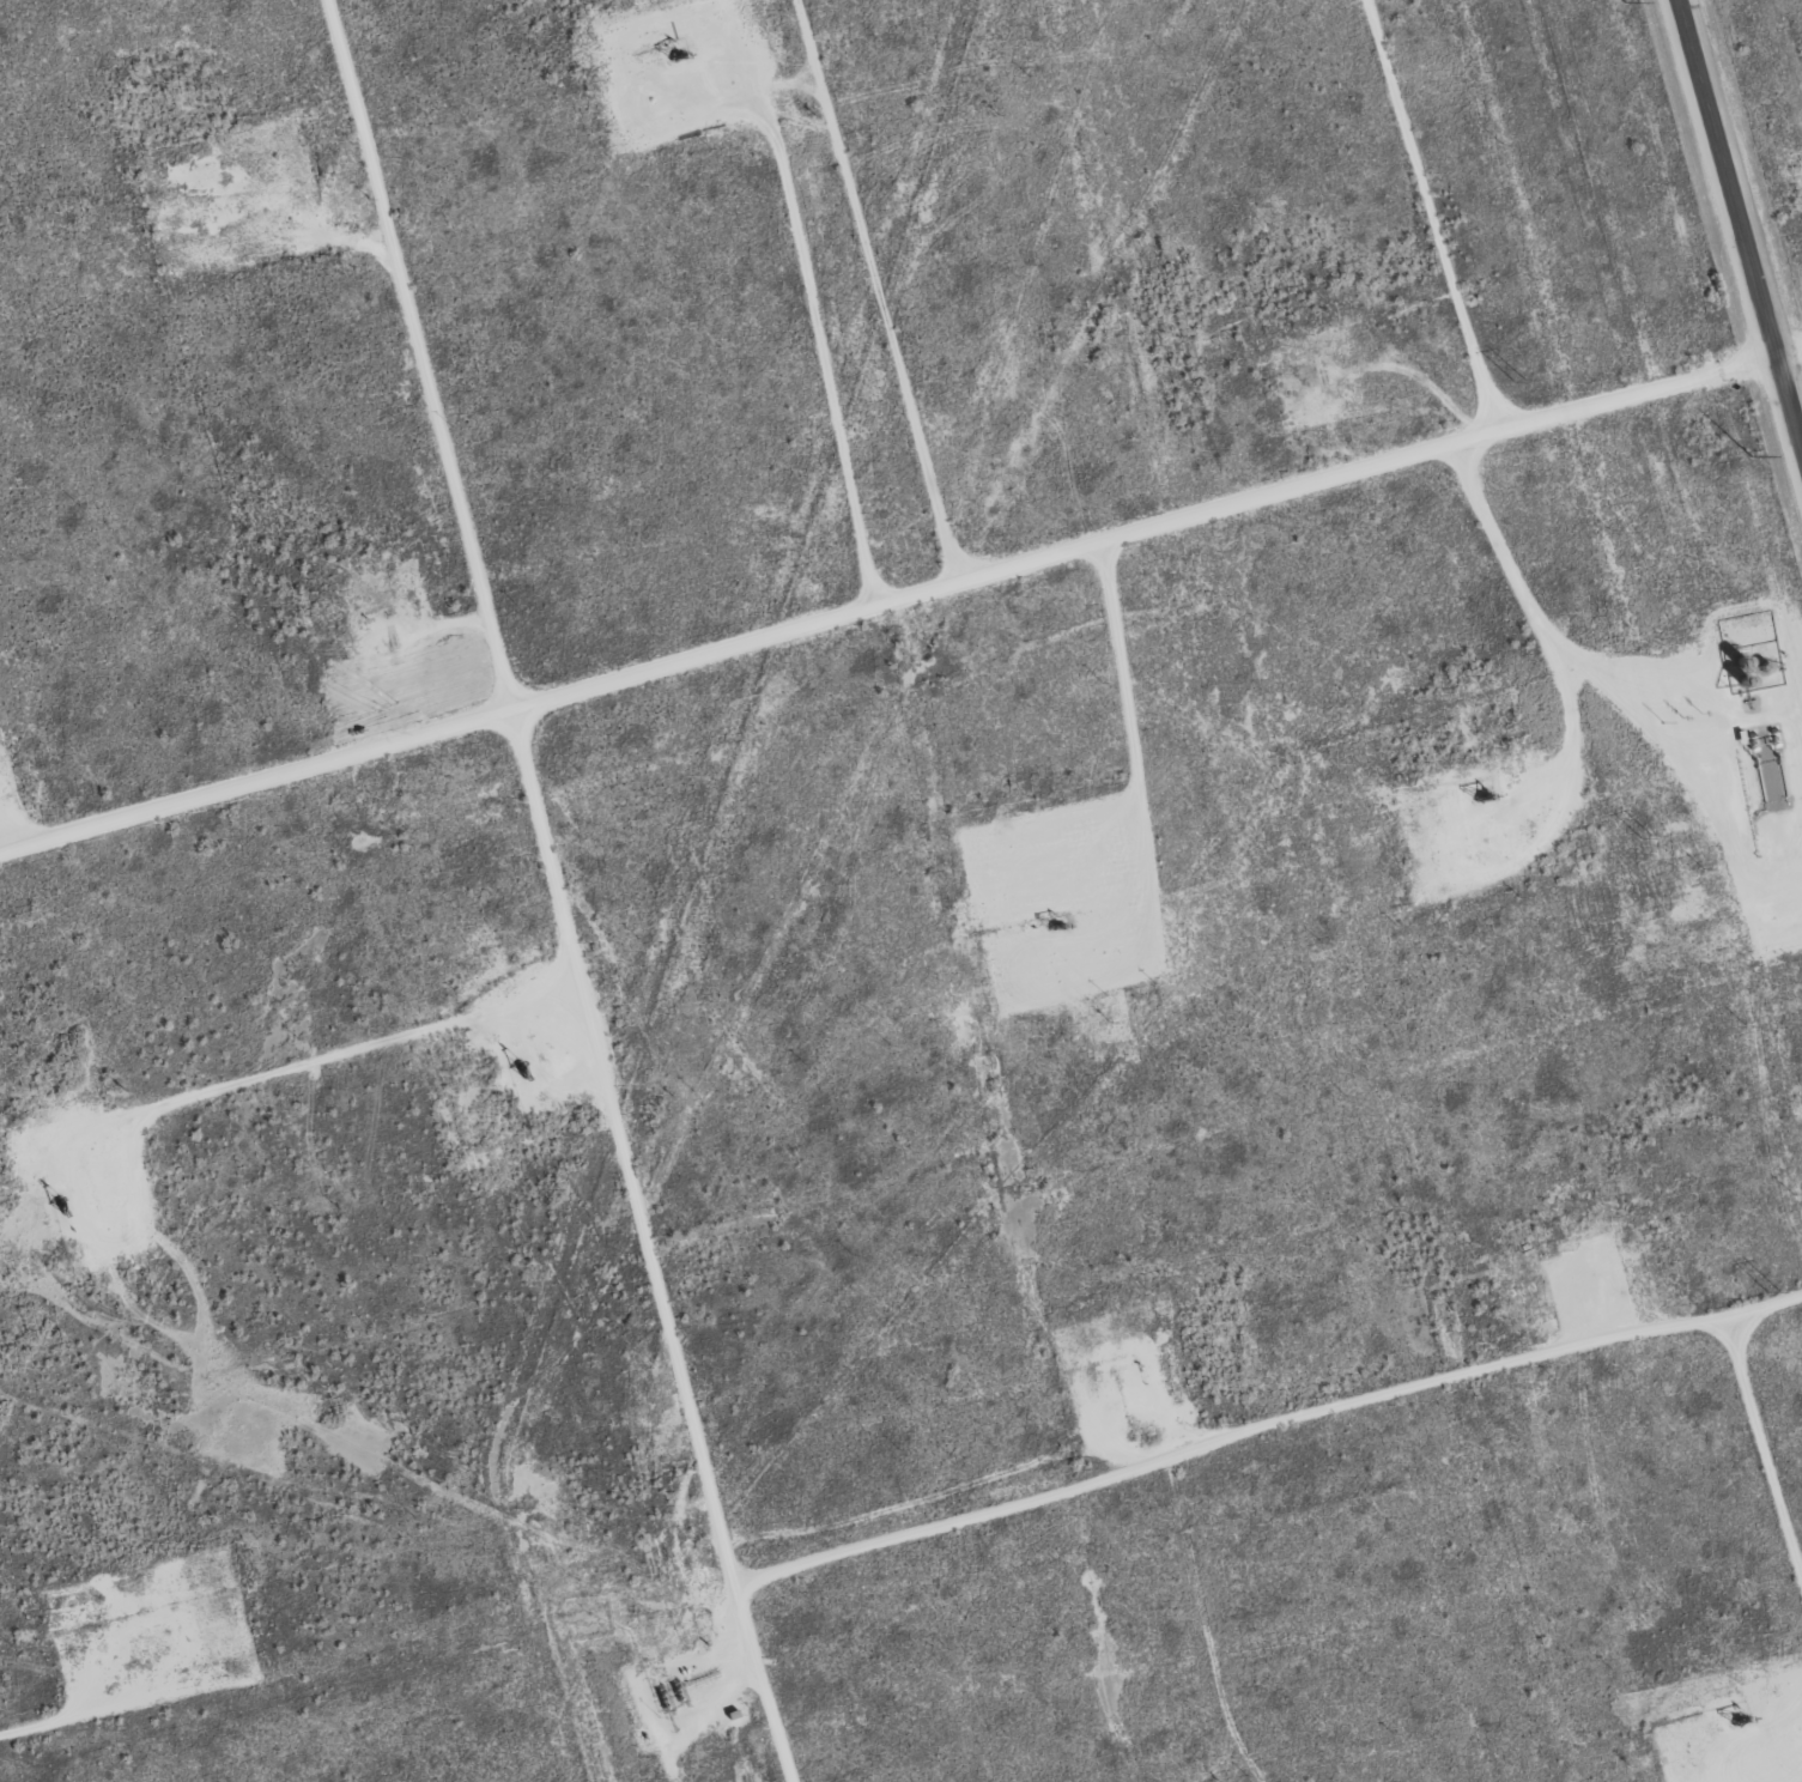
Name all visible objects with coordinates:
road: (1739, 228)
power tower: (1519, 380)
road: (902, 598)
power tower: (1646, 835)
road: (563, 890)
power tower: (1771, 1289)
road: (1503, 1357)

